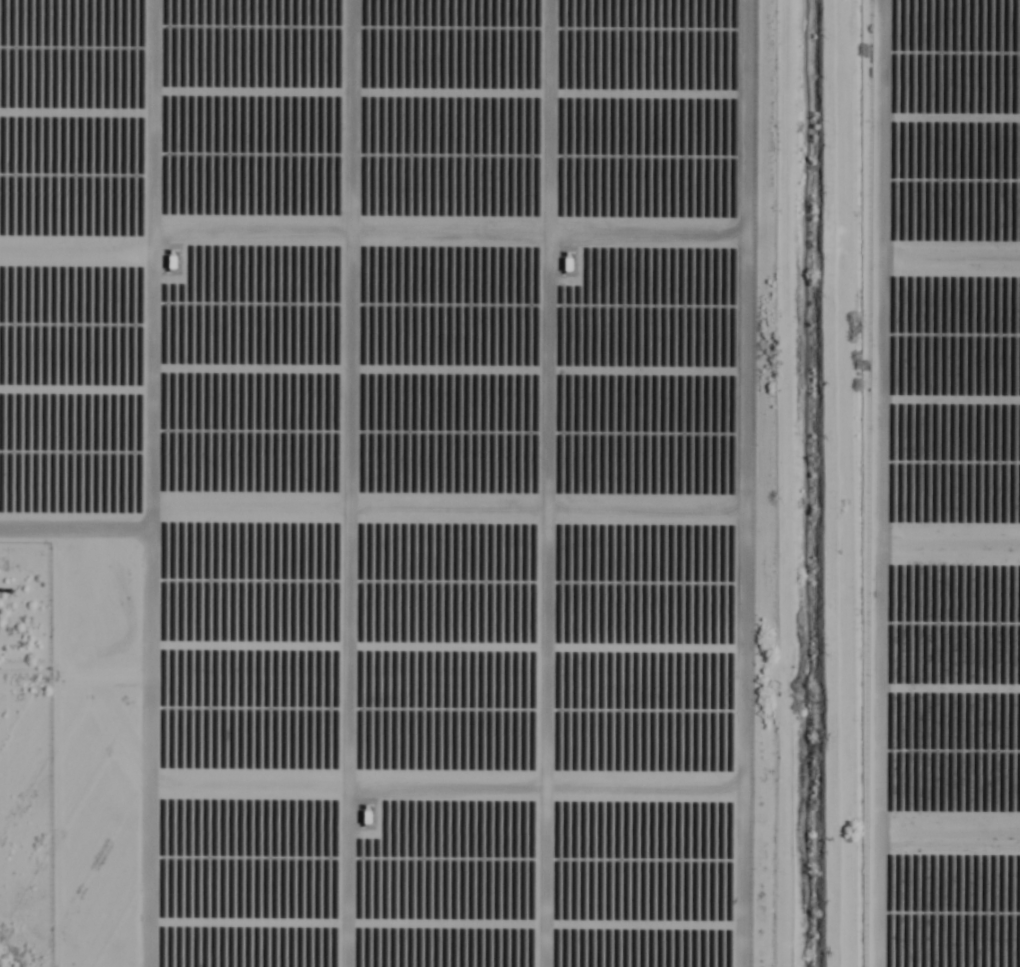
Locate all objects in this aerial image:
solar farm: (389, 474)
solar farm: (945, 484)
power tower: (12, 589)

